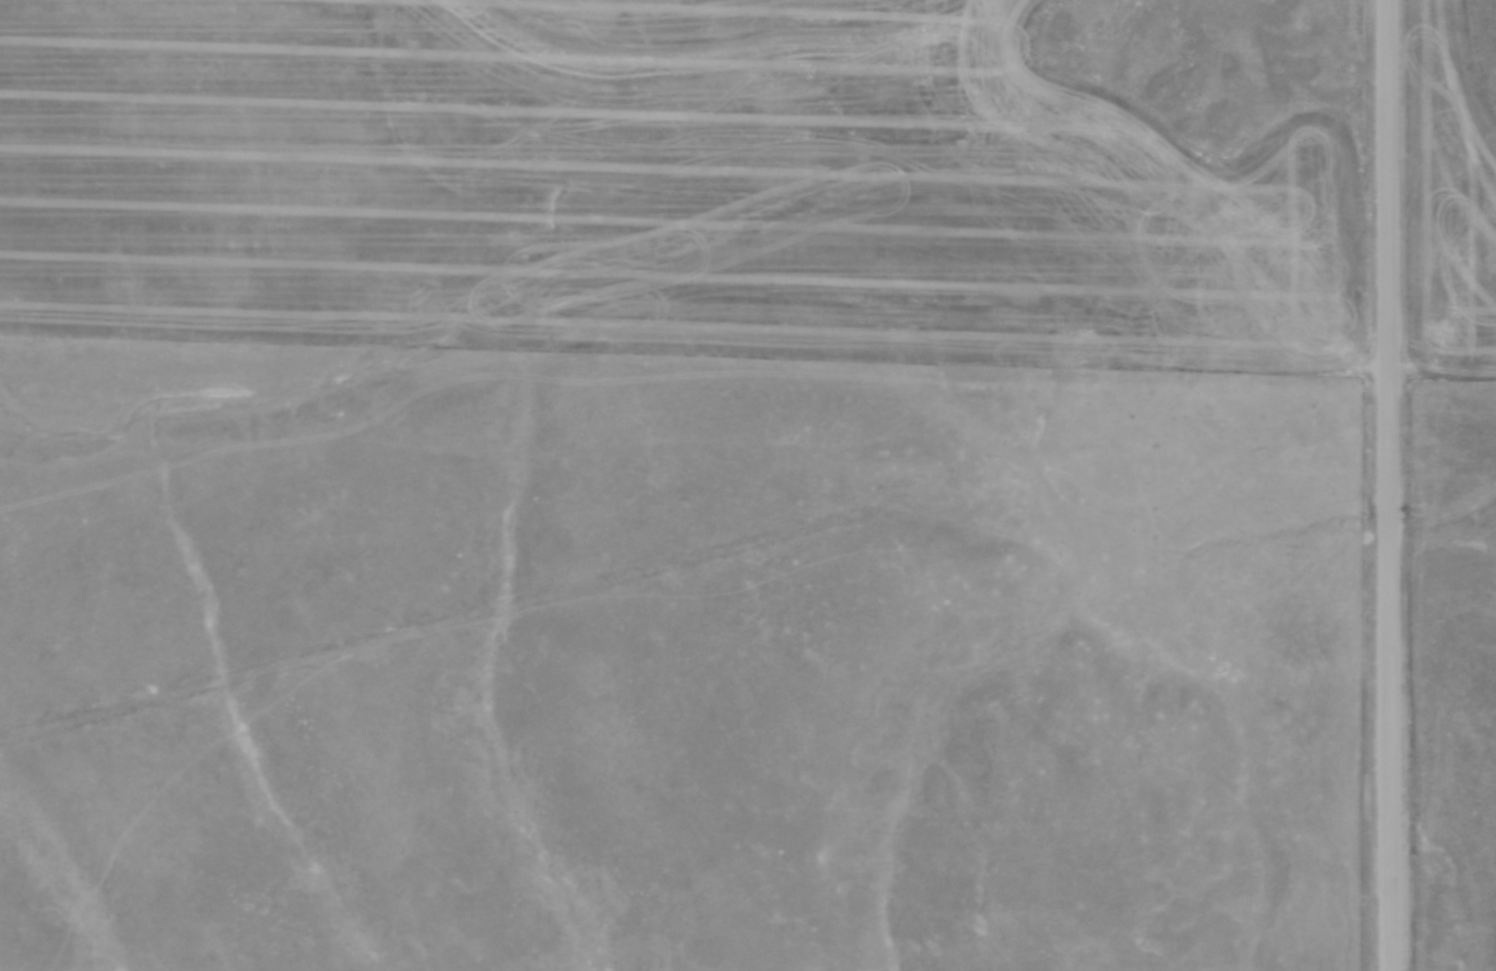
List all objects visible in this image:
crop: (648, 186)
crop: (1448, 195)
road: (1389, 485)

